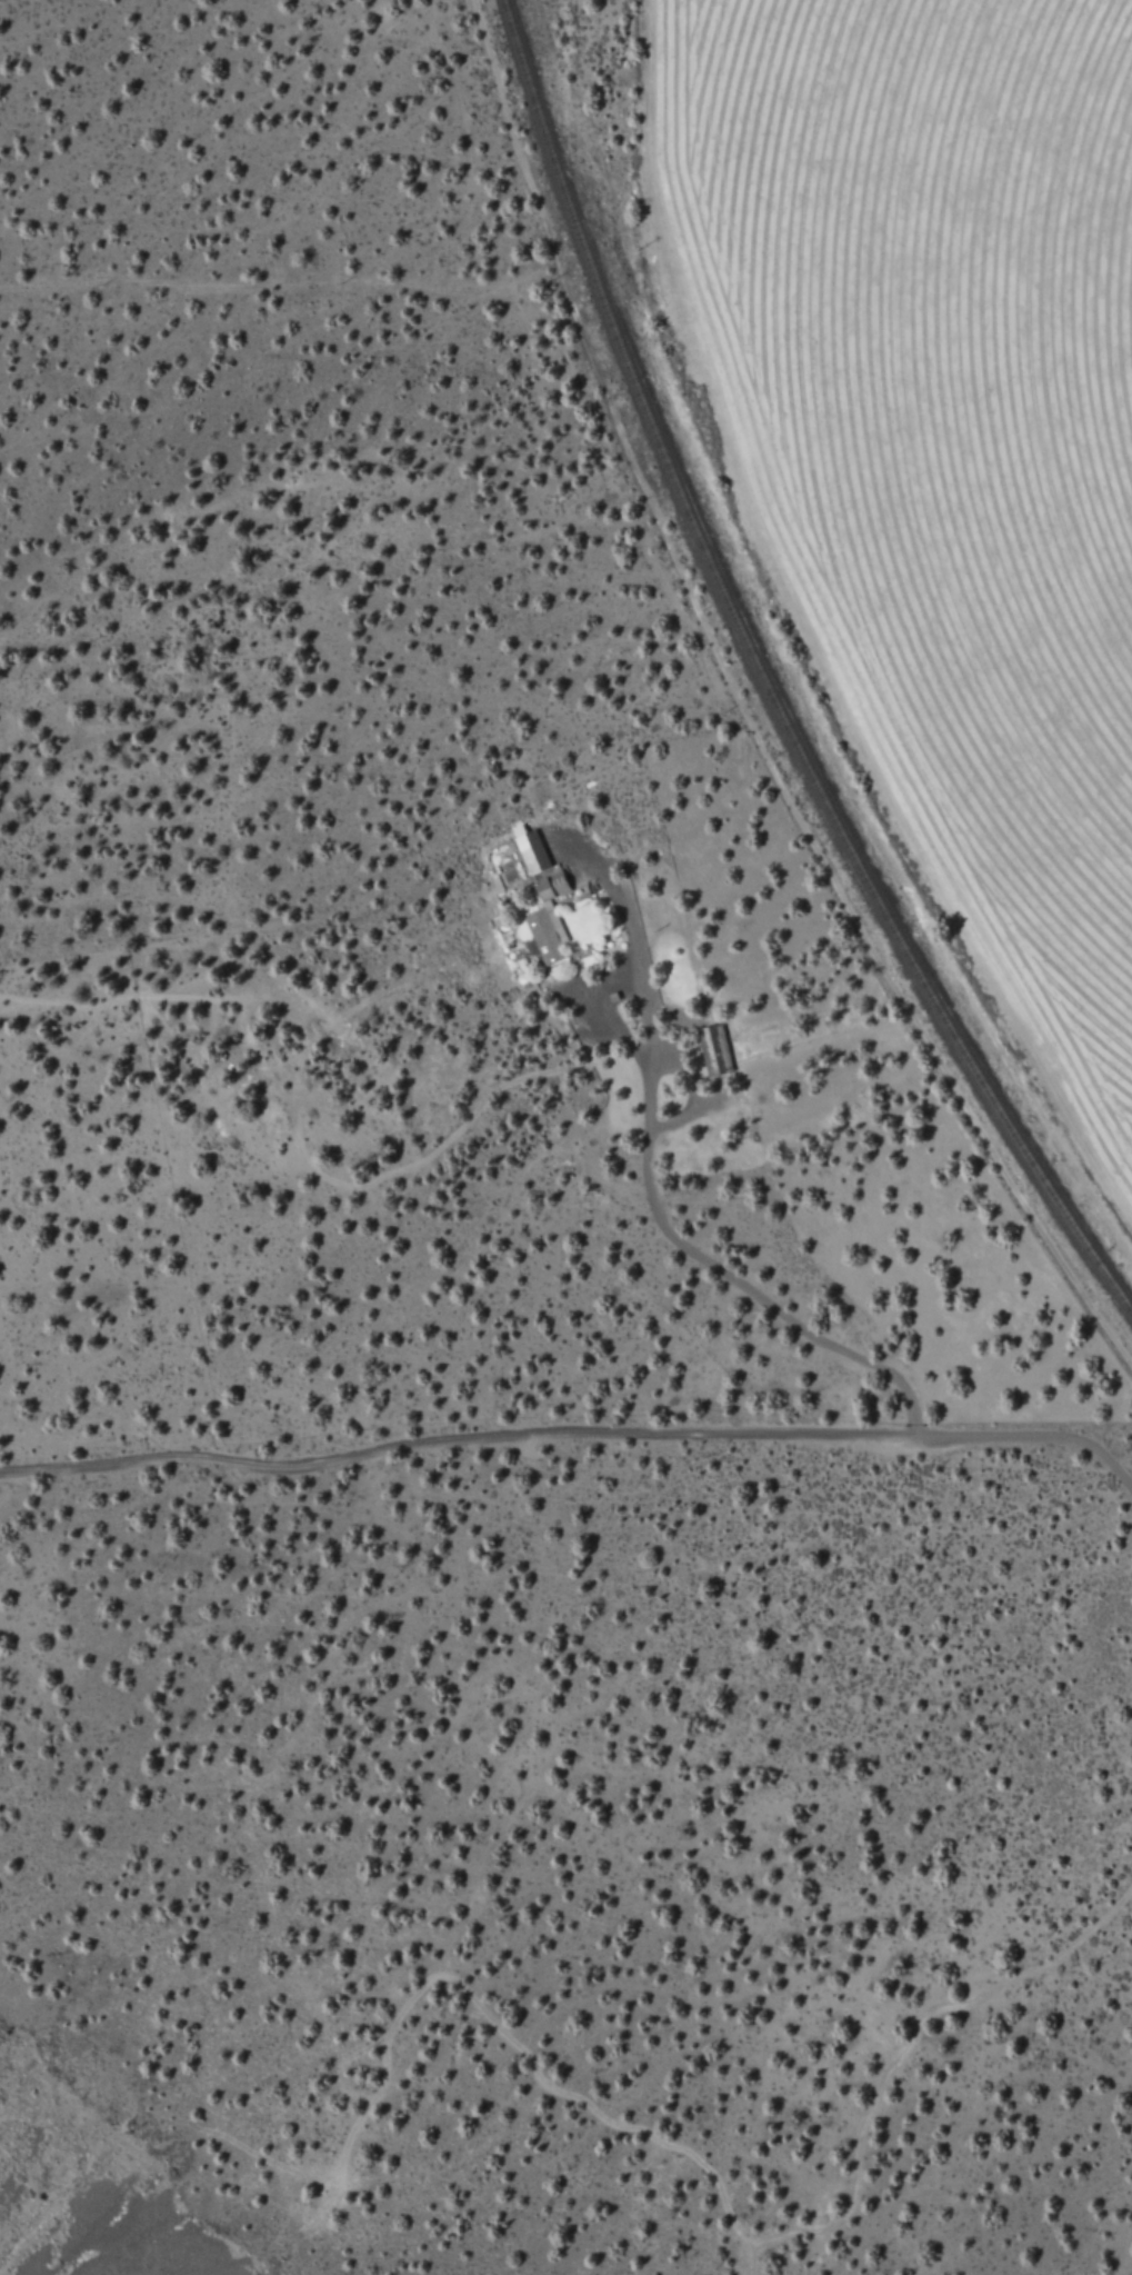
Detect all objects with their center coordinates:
crop: (946, 438)
railway: (771, 684)
building: (529, 850)
building: (544, 919)
building: (712, 1049)
road: (575, 1446)

